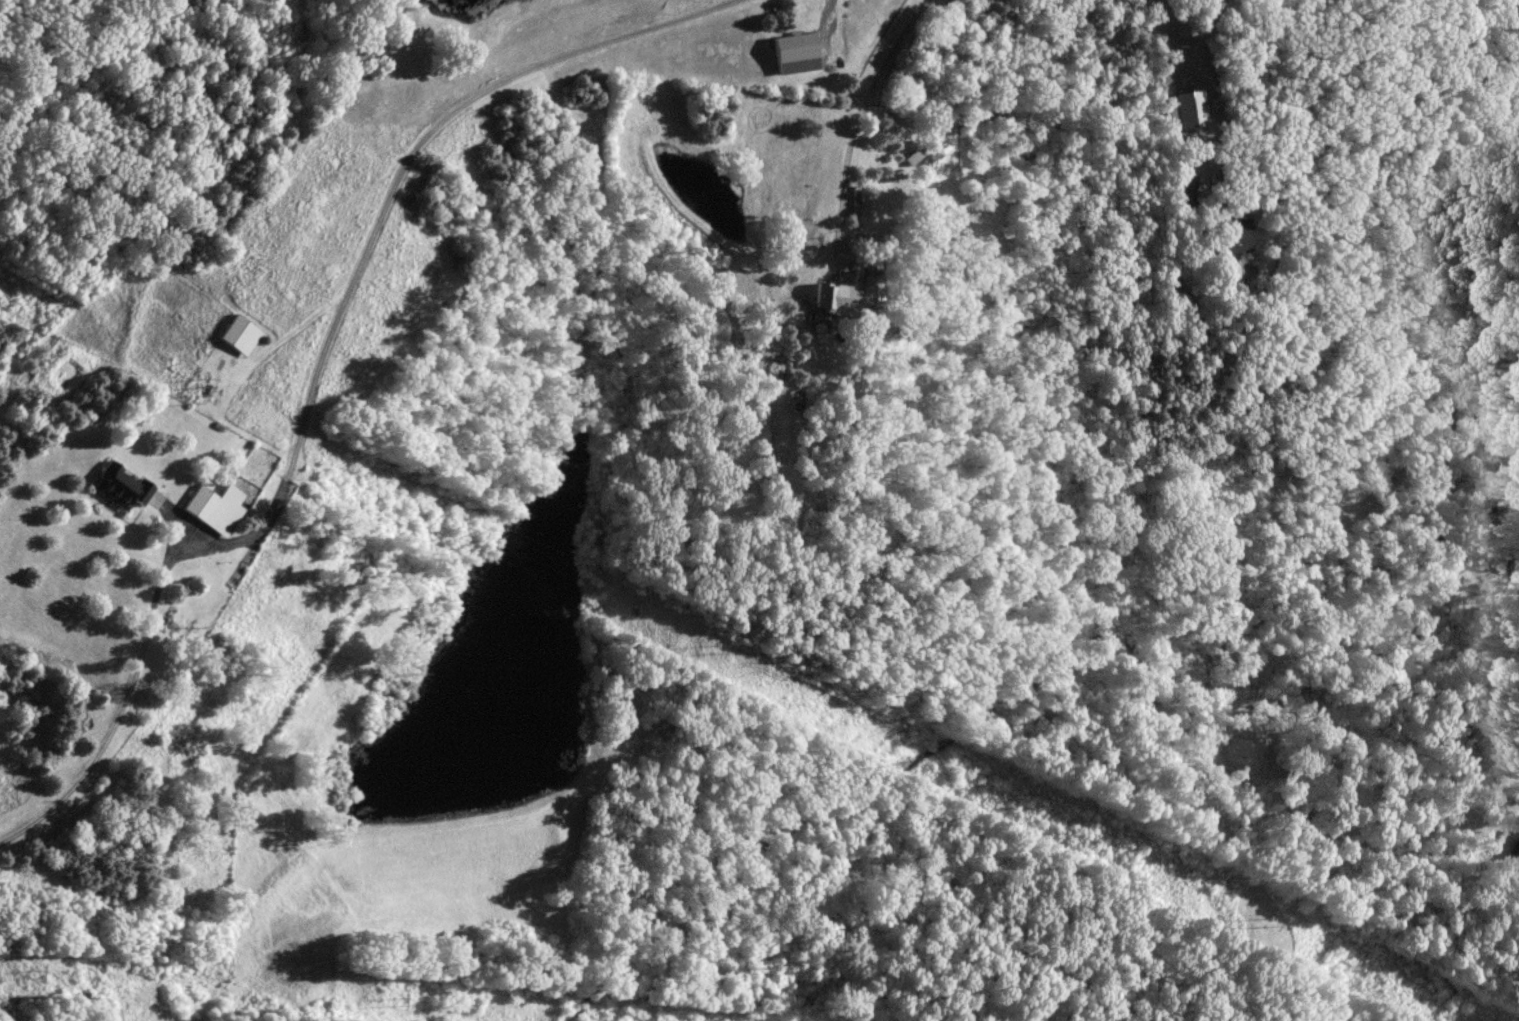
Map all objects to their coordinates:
building: (1518, 10)
road: (867, 91)
road: (397, 177)
building: (1183, 187)
building: (1234, 236)
road: (845, 259)
building: (874, 290)
building: (832, 297)
building: (238, 336)
building: (121, 488)
building: (217, 509)
road: (126, 678)
power tower: (402, 1001)

